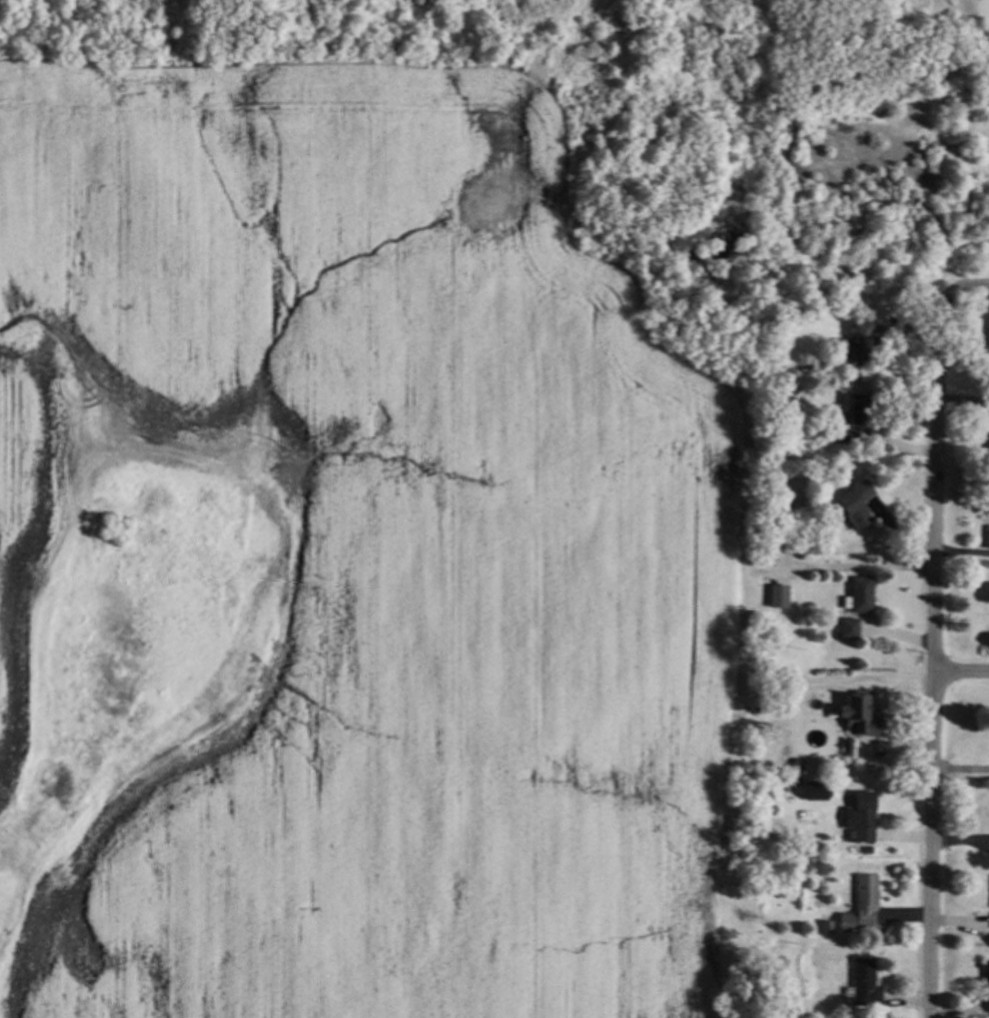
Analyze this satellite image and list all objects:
road: (957, 292)
building: (822, 298)
building: (988, 338)
building: (862, 342)
building: (862, 408)
building: (987, 433)
building: (844, 434)
building: (860, 503)
building: (785, 530)
building: (987, 538)
crop: (350, 561)
road: (859, 561)
building: (773, 591)
building: (864, 594)
building: (852, 628)
road: (935, 668)
road: (962, 673)
building: (863, 712)
building: (800, 762)
building: (827, 765)
road: (961, 769)
building: (800, 780)
building: (809, 782)
building: (823, 783)
building: (815, 792)
building: (863, 817)
building: (869, 898)
building: (849, 922)
building: (830, 927)
building: (988, 973)
building: (865, 984)
building: (765, 996)

